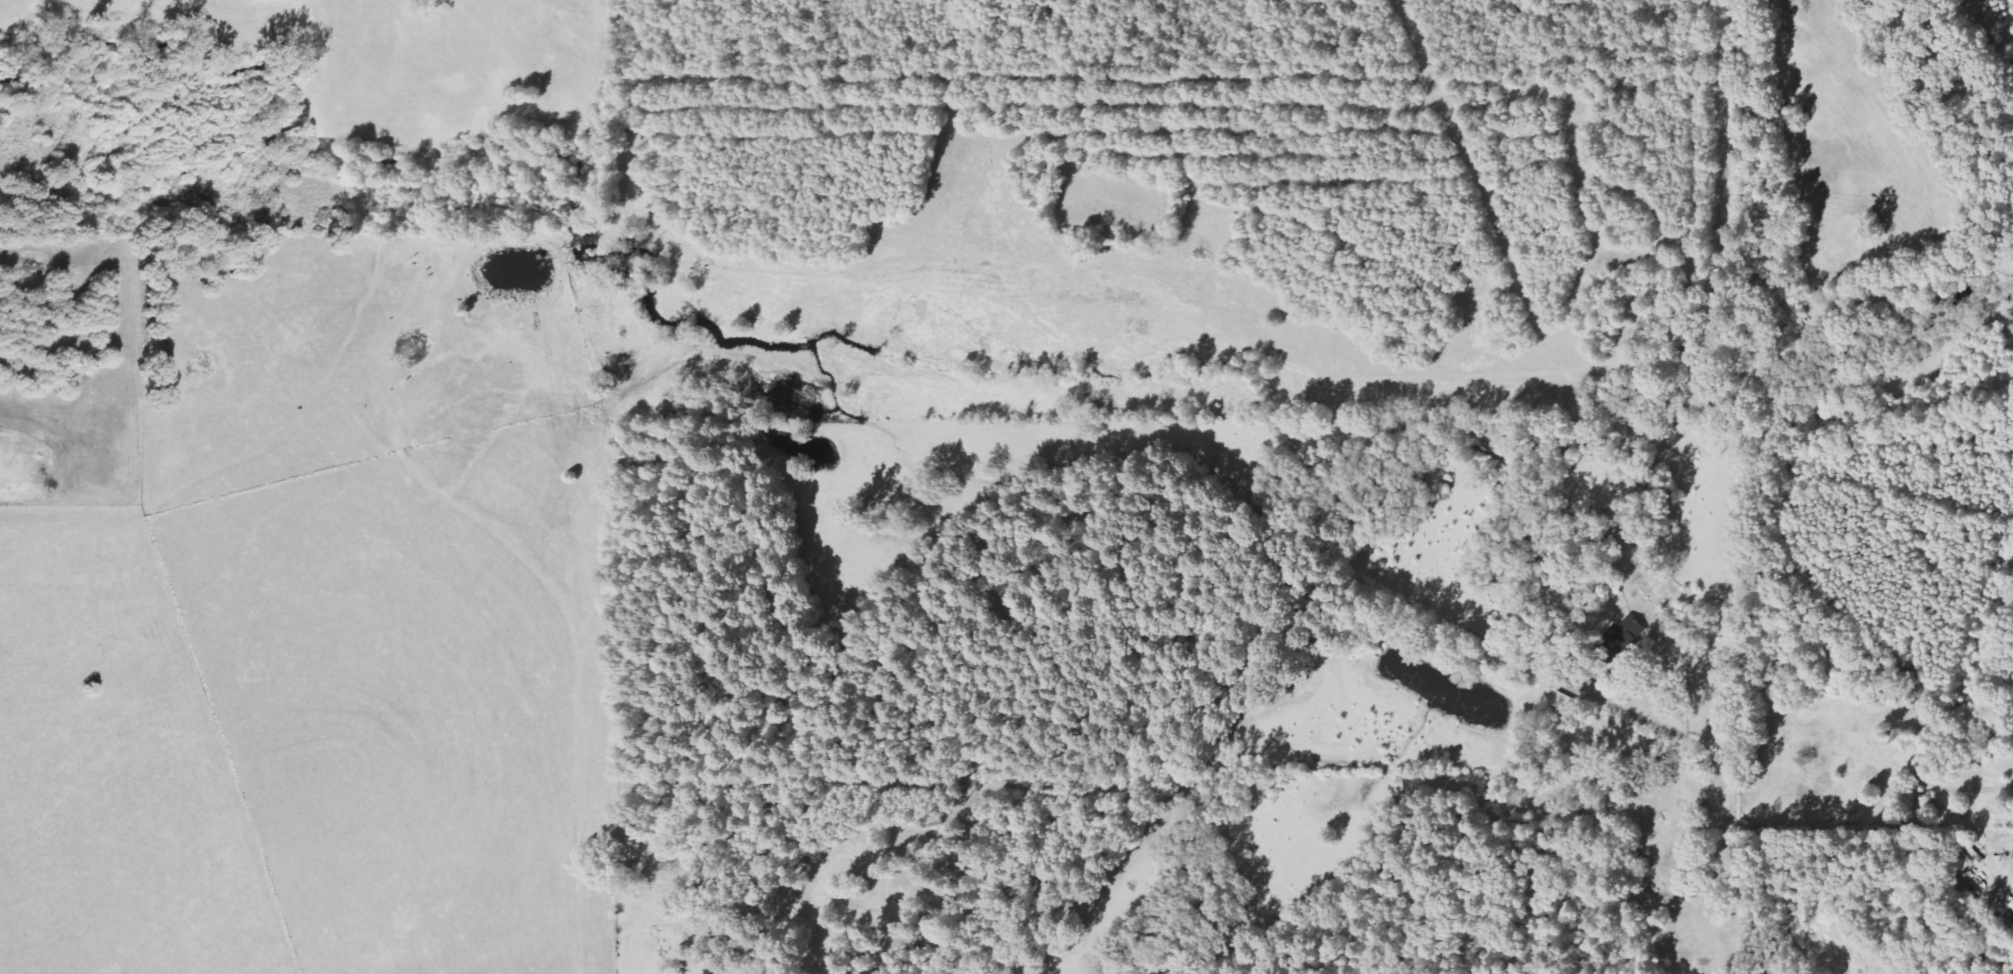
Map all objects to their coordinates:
building: (1623, 637)
building: (1569, 706)
building: (2012, 908)

